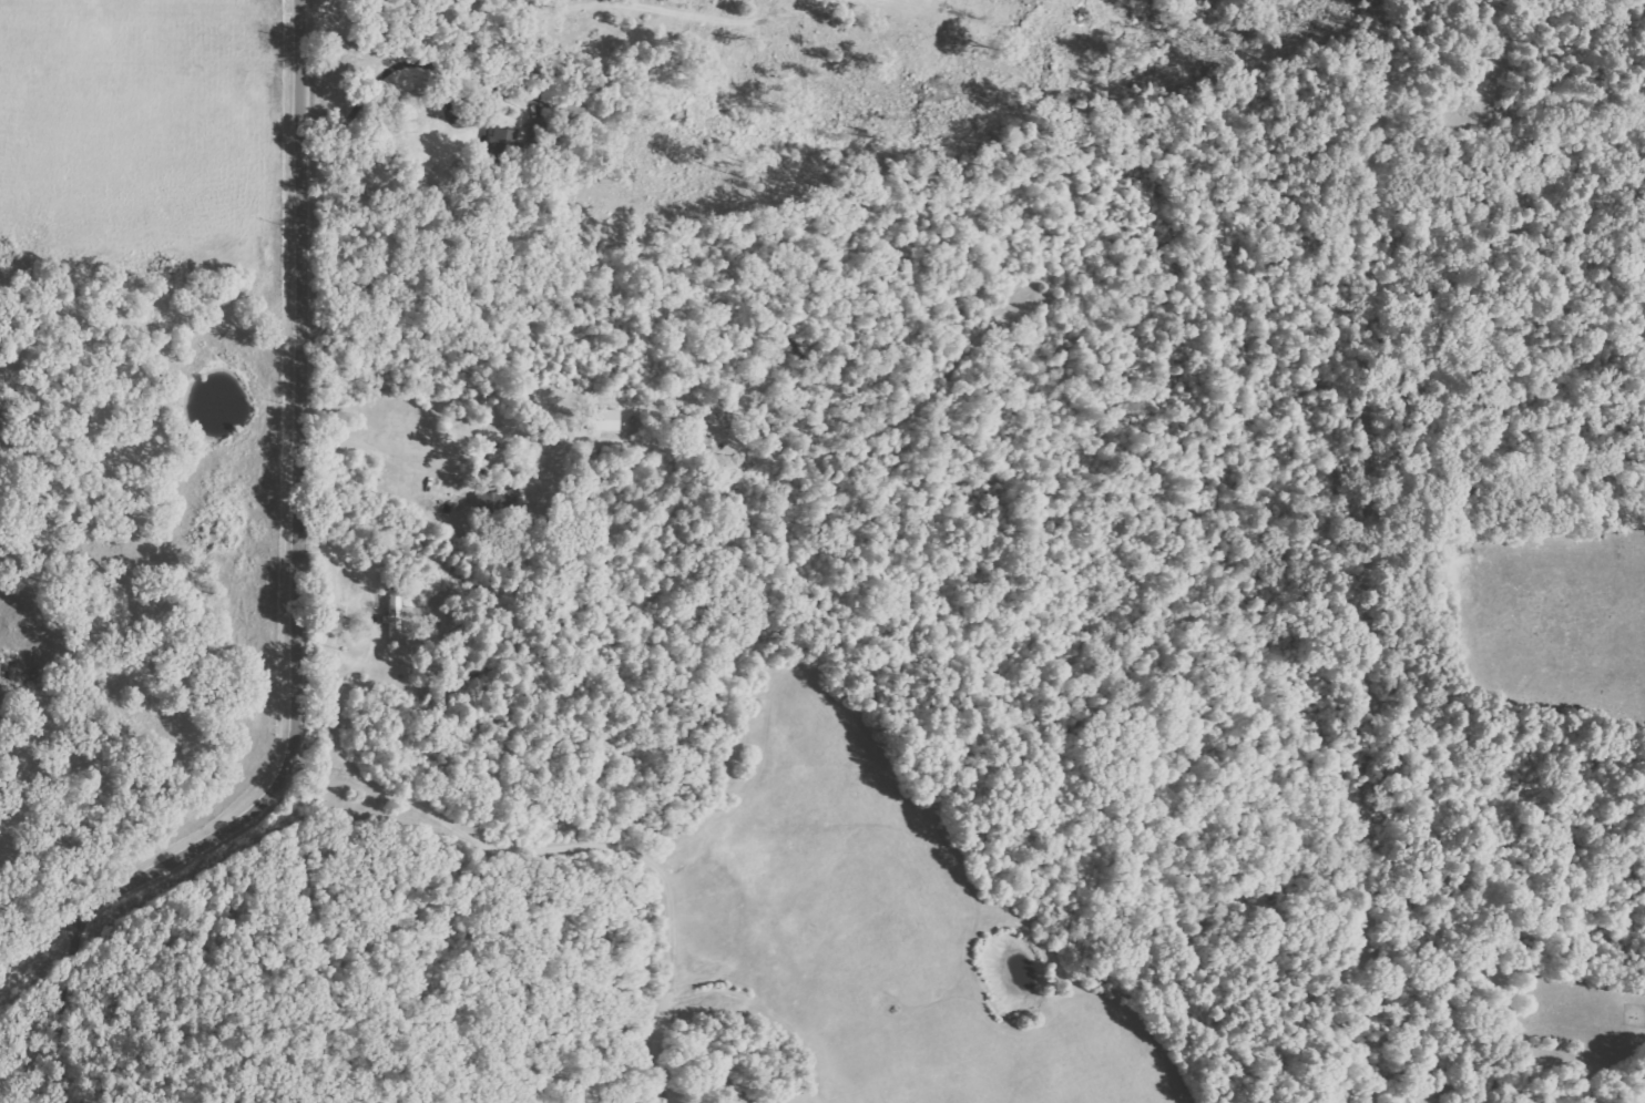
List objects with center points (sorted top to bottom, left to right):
building: (502, 142)
building: (602, 419)
road: (297, 569)
road: (63, 1014)

